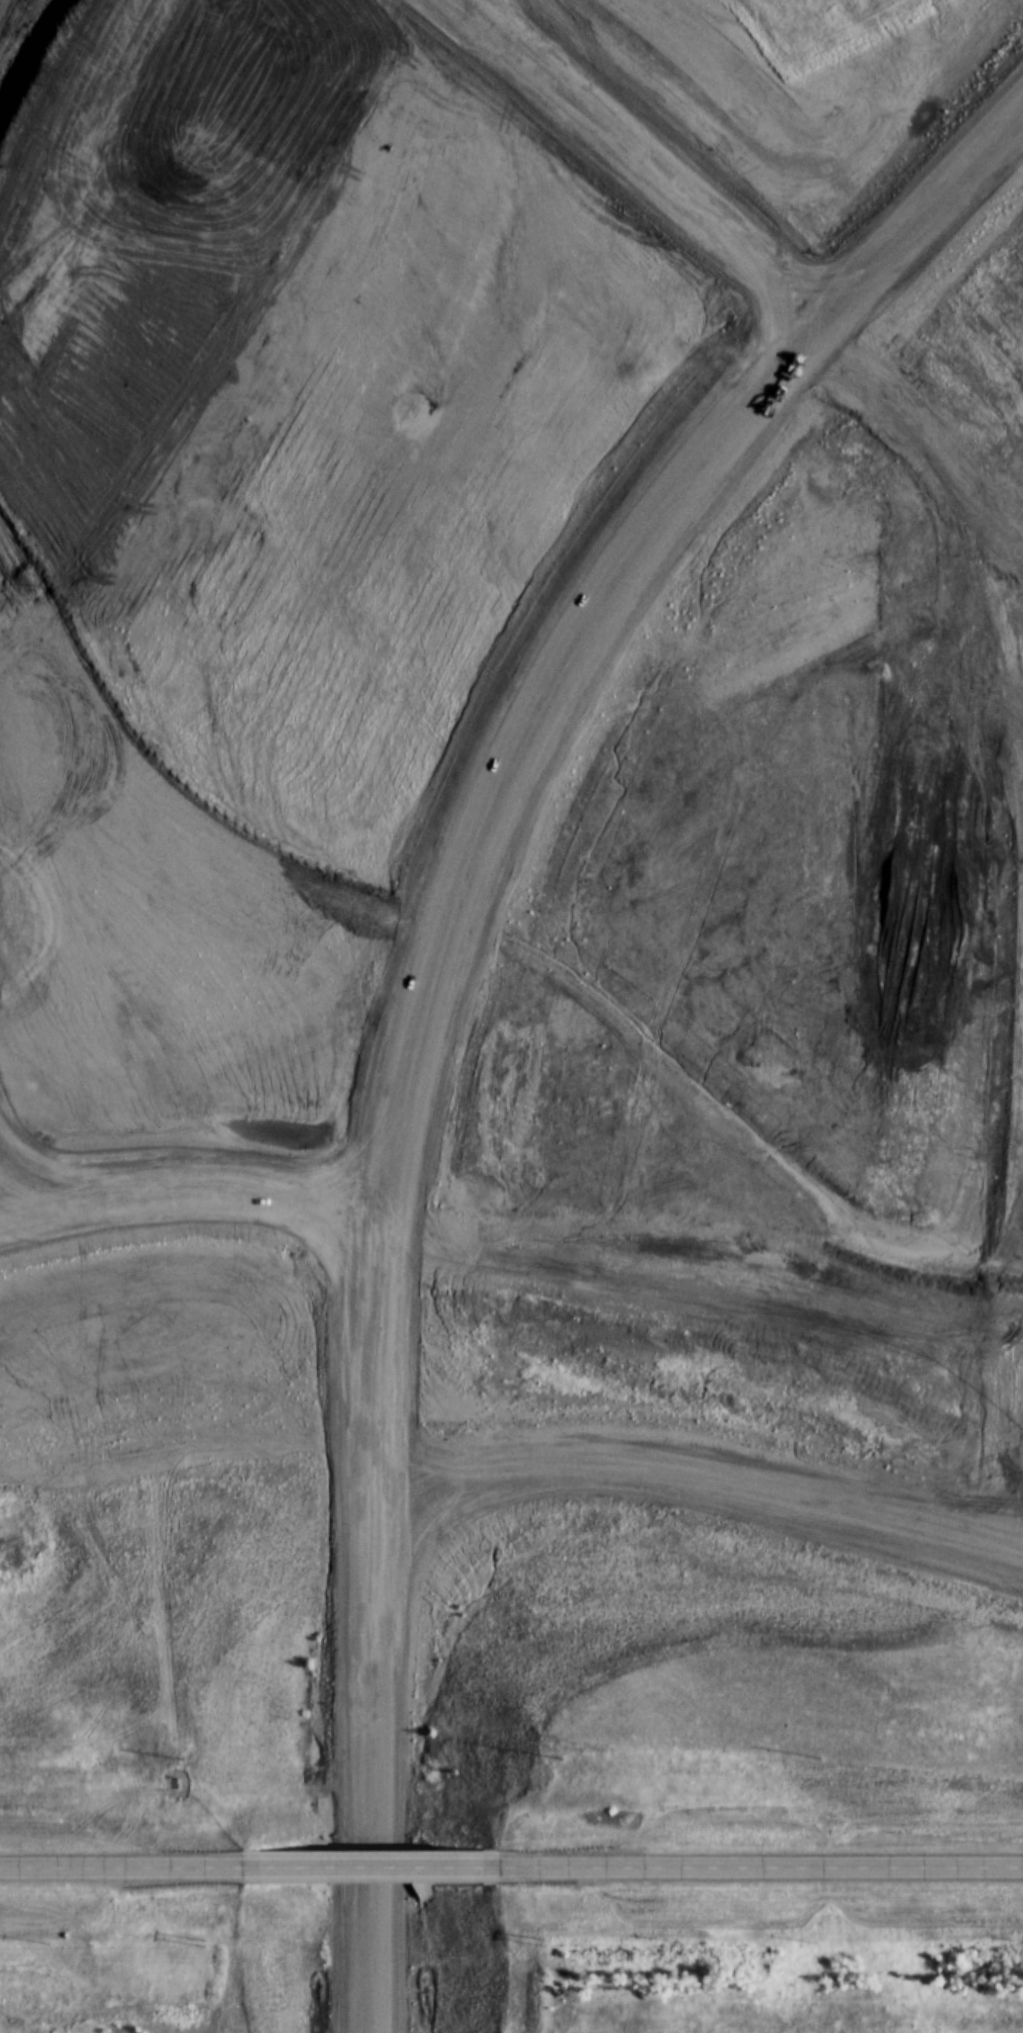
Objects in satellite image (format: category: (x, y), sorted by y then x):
road: (119, 1866)
road: (368, 1866)
road: (760, 1866)
quarry: (484, 2019)

